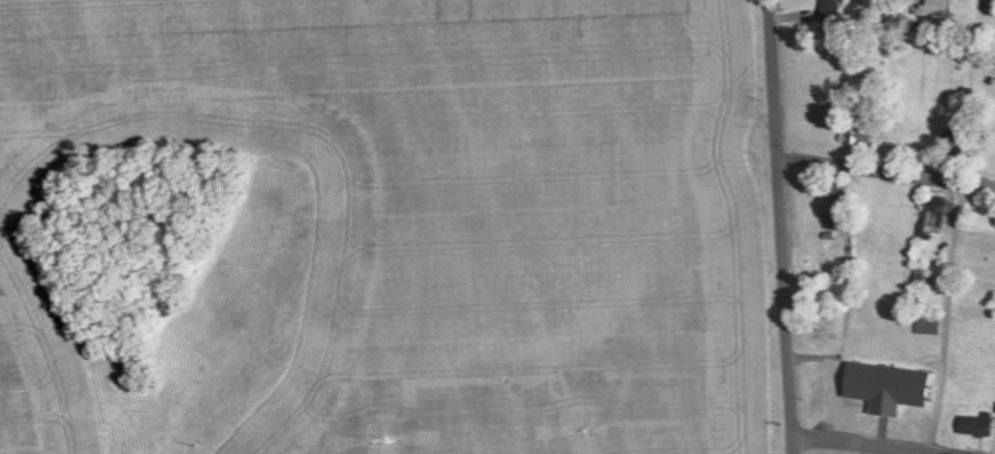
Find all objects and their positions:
building: (831, 11)
building: (858, 132)
road: (884, 174)
building: (831, 214)
building: (934, 217)
road: (776, 227)
building: (928, 325)
building: (888, 387)
building: (977, 425)
road: (869, 444)

